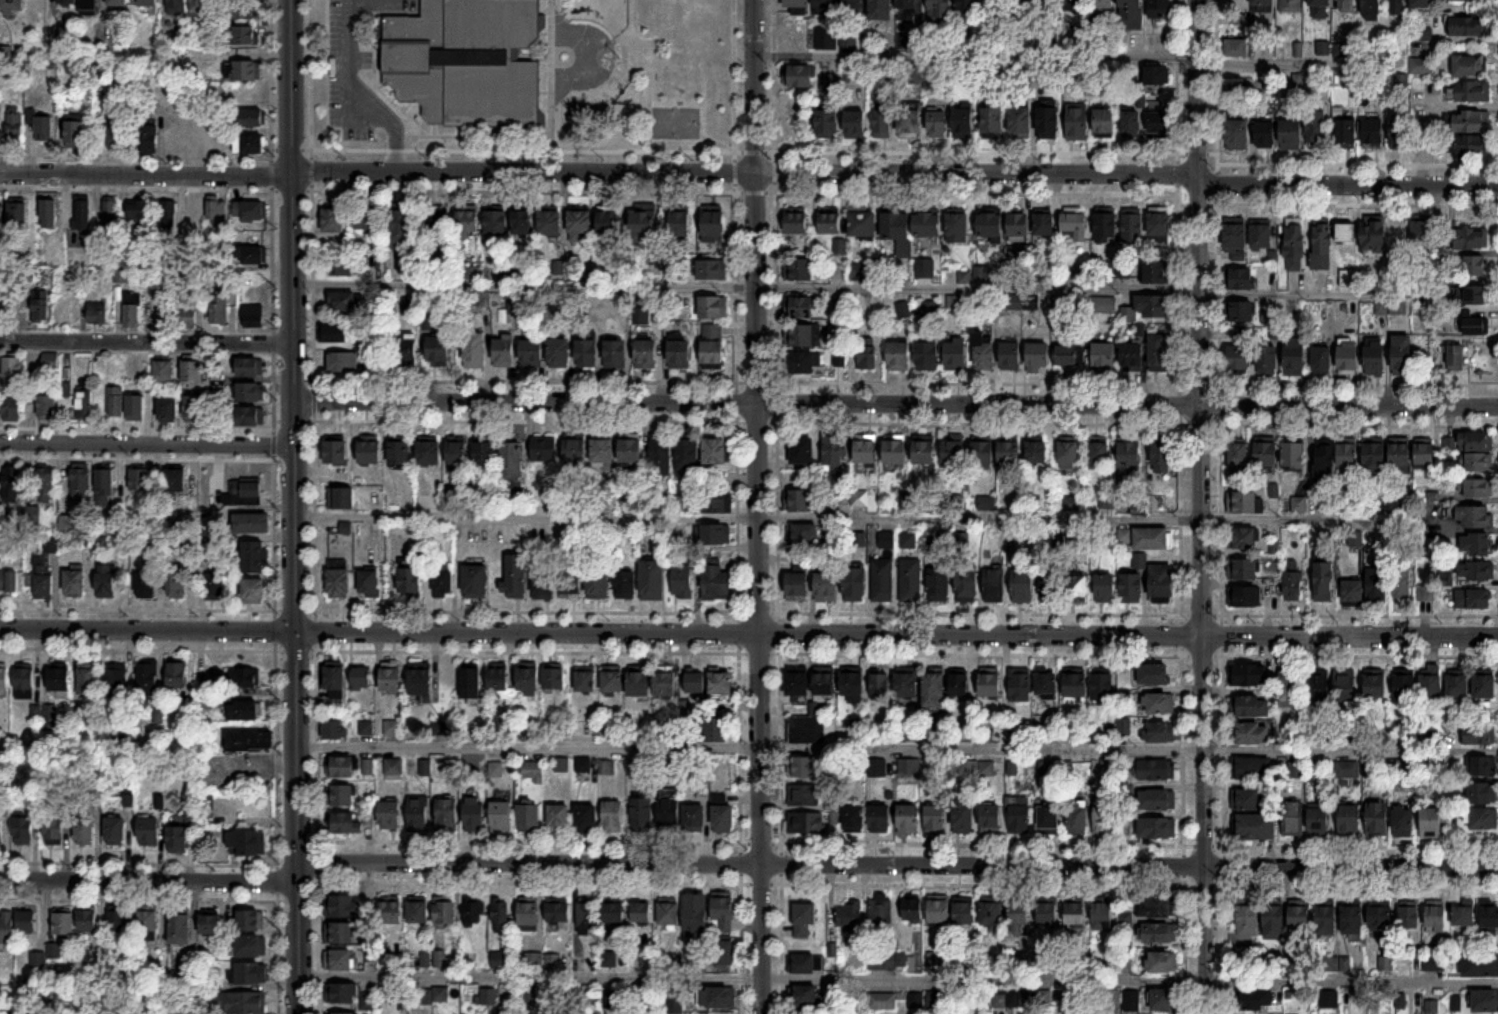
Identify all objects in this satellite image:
building: (1467, 0)
building: (66, 3)
building: (117, 3)
building: (148, 3)
building: (796, 4)
building: (854, 4)
building: (907, 4)
building: (1421, 4)
building: (12, 5)
building: (825, 5)
building: (993, 5)
building: (89, 6)
road: (363, 6)
building: (1048, 6)
building: (1075, 6)
building: (1104, 6)
building: (1263, 6)
building: (1291, 6)
building: (1345, 6)
building: (176, 7)
building: (200, 7)
building: (1160, 8)
building: (1398, 8)
building: (881, 9)
building: (1320, 9)
building: (244, 10)
building: (968, 10)
building: (939, 11)
building: (1372, 11)
building: (1023, 12)
building: (1132, 15)
road: (635, 22)
building: (1472, 26)
building: (245, 36)
building: (1236, 49)
road: (572, 56)
building: (635, 57)
road: (360, 58)
road: (623, 58)
road: (1074, 58)
road: (374, 62)
building: (467, 62)
building: (1420, 66)
building: (1471, 66)
road: (349, 71)
building: (246, 72)
road: (550, 75)
building: (915, 75)
building: (1156, 76)
building: (799, 77)
park: (644, 81)
building: (1237, 89)
building: (1473, 92)
road: (649, 96)
road: (733, 96)
road: (774, 96)
building: (252, 119)
building: (1160, 120)
building: (911, 121)
building: (1021, 122)
building: (1105, 122)
park: (675, 123)
building: (993, 123)
building: (1078, 123)
building: (1132, 123)
building: (1468, 123)
building: (827, 124)
building: (938, 124)
building: (964, 124)
building: (1049, 124)
building: (856, 125)
building: (883, 125)
building: (43, 130)
building: (1317, 130)
building: (15, 132)
building: (74, 133)
building: (1347, 133)
building: (1374, 134)
building: (117, 135)
building: (1238, 135)
road: (478, 136)
building: (1266, 136)
building: (1292, 136)
building: (1400, 136)
building: (149, 139)
road: (717, 143)
building: (249, 145)
building: (1472, 148)
road: (522, 151)
road: (135, 158)
road: (271, 166)
road: (311, 166)
road: (748, 173)
road: (387, 191)
building: (213, 209)
building: (139, 210)
building: (249, 211)
building: (47, 213)
building: (167, 213)
building: (17, 214)
building: (82, 214)
building: (194, 214)
building: (1, 215)
building: (109, 216)
building: (333, 219)
building: (367, 219)
building: (496, 221)
building: (438, 222)
building: (522, 222)
building: (550, 222)
building: (467, 223)
building: (580, 223)
building: (681, 223)
building: (797, 223)
building: (831, 223)
building: (863, 223)
building: (1020, 223)
building: (1044, 223)
building: (610, 224)
building: (927, 224)
building: (991, 224)
building: (1076, 224)
building: (644, 225)
building: (714, 225)
building: (896, 225)
building: (1107, 226)
building: (1160, 226)
building: (957, 227)
building: (1133, 227)
building: (403, 228)
building: (1422, 232)
building: (1263, 235)
building: (1236, 237)
building: (1377, 237)
building: (1472, 238)
building: (1295, 244)
building: (1323, 246)
building: (252, 255)
building: (1475, 264)
building: (342, 266)
building: (712, 268)
building: (800, 268)
building: (1116, 270)
building: (1158, 271)
building: (120, 275)
building: (1240, 278)
road: (848, 284)
building: (1474, 295)
building: (341, 300)
building: (1103, 304)
building: (713, 306)
building: (802, 306)
building: (1148, 307)
building: (218, 308)
building: (40, 309)
building: (130, 309)
building: (1243, 310)
building: (186, 311)
building: (164, 312)
building: (97, 313)
building: (253, 316)
building: (1476, 325)
road: (136, 332)
road: (292, 333)
building: (800, 334)
road: (145, 342)
road: (272, 344)
building: (713, 346)
building: (474, 349)
building: (503, 350)
building: (531, 350)
building: (406, 351)
building: (438, 351)
building: (985, 351)
road: (136, 352)
building: (558, 352)
building: (587, 352)
building: (1159, 352)
building: (615, 353)
building: (646, 353)
building: (956, 353)
building: (680, 354)
building: (1105, 354)
building: (1011, 355)
building: (1133, 355)
building: (1296, 355)
building: (1405, 355)
building: (899, 356)
building: (928, 356)
building: (1067, 356)
building: (868, 357)
building: (1039, 357)
building: (1349, 357)
building: (1457, 357)
road: (312, 358)
building: (1240, 358)
building: (1376, 358)
building: (1268, 359)
building: (1323, 359)
building: (50, 361)
building: (341, 361)
building: (805, 361)
building: (12, 366)
building: (136, 366)
building: (249, 366)
building: (163, 370)
building: (191, 372)
building: (250, 391)
road: (271, 391)
road: (312, 400)
building: (115, 401)
road: (896, 402)
building: (84, 403)
building: (12, 405)
building: (47, 405)
building: (134, 407)
building: (194, 407)
building: (167, 409)
building: (250, 415)
road: (147, 443)
road: (271, 443)
building: (1449, 443)
building: (575, 448)
building: (896, 448)
building: (543, 449)
building: (631, 449)
building: (802, 449)
building: (1477, 449)
building: (603, 450)
building: (715, 450)
building: (954, 450)
building: (370, 451)
building: (428, 451)
building: (866, 451)
building: (925, 451)
building: (335, 452)
building: (399, 452)
building: (457, 452)
building: (485, 452)
building: (686, 452)
building: (983, 452)
building: (1037, 452)
building: (1266, 452)
building: (1425, 452)
building: (660, 453)
building: (833, 453)
building: (1239, 453)
building: (1401, 453)
building: (1011, 454)
building: (1100, 454)
building: (1069, 455)
building: (1294, 455)
building: (1163, 456)
building: (1376, 456)
building: (511, 458)
building: (1130, 458)
building: (1349, 458)
building: (1325, 461)
building: (141, 478)
building: (80, 481)
building: (175, 482)
building: (11, 483)
building: (46, 484)
building: (104, 486)
building: (1479, 486)
building: (243, 493)
building: (341, 497)
building: (797, 499)
building: (1244, 501)
building: (715, 502)
road: (296, 506)
road: (759, 506)
road: (1202, 507)
building: (31, 513)
road: (313, 513)
building: (1474, 515)
road: (749, 516)
building: (66, 522)
building: (251, 522)
building: (716, 533)
road: (273, 534)
building: (803, 536)
building: (1243, 537)
building: (1153, 538)
building: (858, 539)
building: (886, 539)
building: (908, 540)
building: (1476, 543)
building: (254, 556)
building: (1140, 561)
building: (1244, 568)
building: (1476, 570)
building: (45, 572)
building: (514, 574)
building: (339, 579)
building: (652, 579)
building: (106, 580)
building: (883, 580)
building: (911, 580)
building: (1403, 580)
building: (8, 581)
building: (474, 581)
building: (1324, 581)
building: (74, 582)
building: (410, 582)
building: (444, 582)
building: (682, 582)
building: (967, 582)
building: (598, 583)
building: (625, 583)
building: (716, 583)
building: (1023, 583)
building: (1163, 583)
building: (145, 584)
building: (176, 584)
building: (369, 584)
building: (543, 584)
building: (826, 584)
building: (855, 584)
building: (939, 584)
building: (995, 584)
building: (1377, 584)
building: (798, 585)
building: (1294, 585)
building: (213, 586)
building: (1050, 586)
building: (1078, 588)
building: (1106, 588)
building: (1132, 588)
building: (570, 589)
building: (254, 591)
building: (1354, 591)
building: (1426, 593)
building: (1244, 595)
building: (1474, 598)
road: (293, 609)
road: (274, 629)
road: (313, 629)
road: (748, 634)
road: (293, 649)
building: (1154, 674)
building: (177, 675)
building: (1247, 675)
building: (246, 677)
building: (3, 678)
building: (88, 678)
building: (335, 678)
building: (528, 678)
building: (554, 678)
building: (59, 679)
building: (146, 679)
building: (361, 679)
building: (390, 680)
building: (498, 680)
building: (116, 681)
building: (471, 681)
building: (585, 681)
building: (613, 681)
building: (24, 683)
building: (640, 683)
building: (666, 683)
building: (696, 683)
building: (991, 683)
building: (421, 684)
building: (721, 684)
building: (825, 684)
building: (853, 684)
building: (906, 684)
building: (1046, 684)
building: (880, 685)
building: (960, 685)
building: (1076, 685)
building: (1377, 685)
building: (1406, 685)
building: (1459, 685)
building: (1020, 686)
building: (1103, 686)
building: (1432, 686)
building: (1486, 686)
building: (798, 687)
building: (1347, 687)
building: (1291, 689)
building: (1321, 689)
building: (934, 690)
building: (203, 691)
building: (1160, 704)
building: (1249, 706)
building: (245, 710)
building: (394, 726)
building: (335, 729)
building: (715, 729)
building: (806, 729)
building: (1160, 732)
building: (1250, 733)
building: (1479, 734)
building: (250, 740)
road: (315, 744)
road: (898, 747)
road: (274, 755)
building: (583, 765)
building: (1484, 765)
building: (802, 766)
building: (909, 766)
building: (340, 767)
building: (394, 767)
building: (606, 767)
building: (1250, 769)
building: (1347, 769)
building: (496, 770)
building: (1157, 770)
building: (1297, 770)
building: (532, 771)
building: (1483, 792)
building: (803, 794)
building: (341, 795)
building: (1158, 800)
building: (1247, 800)
building: (668, 813)
building: (418, 814)
building: (447, 814)
building: (502, 814)
building: (641, 814)
building: (1020, 814)
building: (390, 815)
building: (612, 816)
building: (963, 816)
building: (1049, 816)
building: (1078, 816)
building: (475, 817)
building: (529, 817)
building: (694, 817)
building: (991, 817)
building: (559, 818)
building: (723, 818)
building: (854, 818)
building: (880, 818)
building: (1377, 818)
building: (1484, 818)
building: (586, 819)
building: (908, 819)
building: (935, 819)
building: (1293, 819)
building: (1104, 820)
building: (1350, 820)
building: (1319, 821)
building: (1404, 821)
building: (1434, 821)
building: (344, 822)
building: (807, 822)
building: (1256, 827)
building: (54, 828)
building: (1158, 828)
building: (24, 830)
building: (85, 830)
building: (115, 830)
building: (1, 835)
building: (150, 835)
building: (178, 838)
building: (246, 842)
road: (315, 862)
road: (746, 863)
road: (275, 879)
building: (341, 906)
building: (1159, 907)
building: (913, 909)
building: (939, 909)
building: (390, 910)
building: (417, 912)
building: (558, 912)
building: (964, 912)
building: (1048, 912)
building: (474, 913)
building: (501, 913)
building: (613, 913)
building: (642, 913)
building: (669, 913)
building: (696, 913)
building: (881, 913)
building: (1465, 913)
building: (445, 914)
building: (529, 914)
building: (992, 914)
building: (724, 915)
building: (849, 915)
building: (1076, 915)
building: (1020, 916)
building: (1103, 916)
building: (1300, 916)
building: (1490, 916)
building: (1381, 917)
building: (1409, 917)
building: (1437, 917)
building: (588, 918)
building: (804, 919)
building: (249, 920)
building: (1327, 920)
building: (1353, 920)
building: (27, 921)
building: (88, 921)
building: (1126, 921)
building: (117, 922)
building: (1248, 922)
building: (1275, 922)
building: (64, 923)
building: (211, 924)
building: (148, 925)
building: (6, 928)
building: (180, 928)
building: (340, 932)
building: (1159, 933)
building: (251, 946)
road: (315, 948)
building: (724, 953)
road: (276, 955)
building: (338, 960)
building: (502, 961)
building: (1162, 962)
building: (802, 963)
building: (1434, 963)
building: (1480, 965)
building: (250, 973)
road: (899, 978)
building: (340, 993)
building: (526, 995)
building: (803, 996)
building: (488, 997)
building: (716, 997)
building: (1164, 1000)
building: (1254, 1000)
building: (882, 1001)
building: (1485, 1001)
building: (237, 1003)
building: (675, 1003)
building: (341, 1013)

